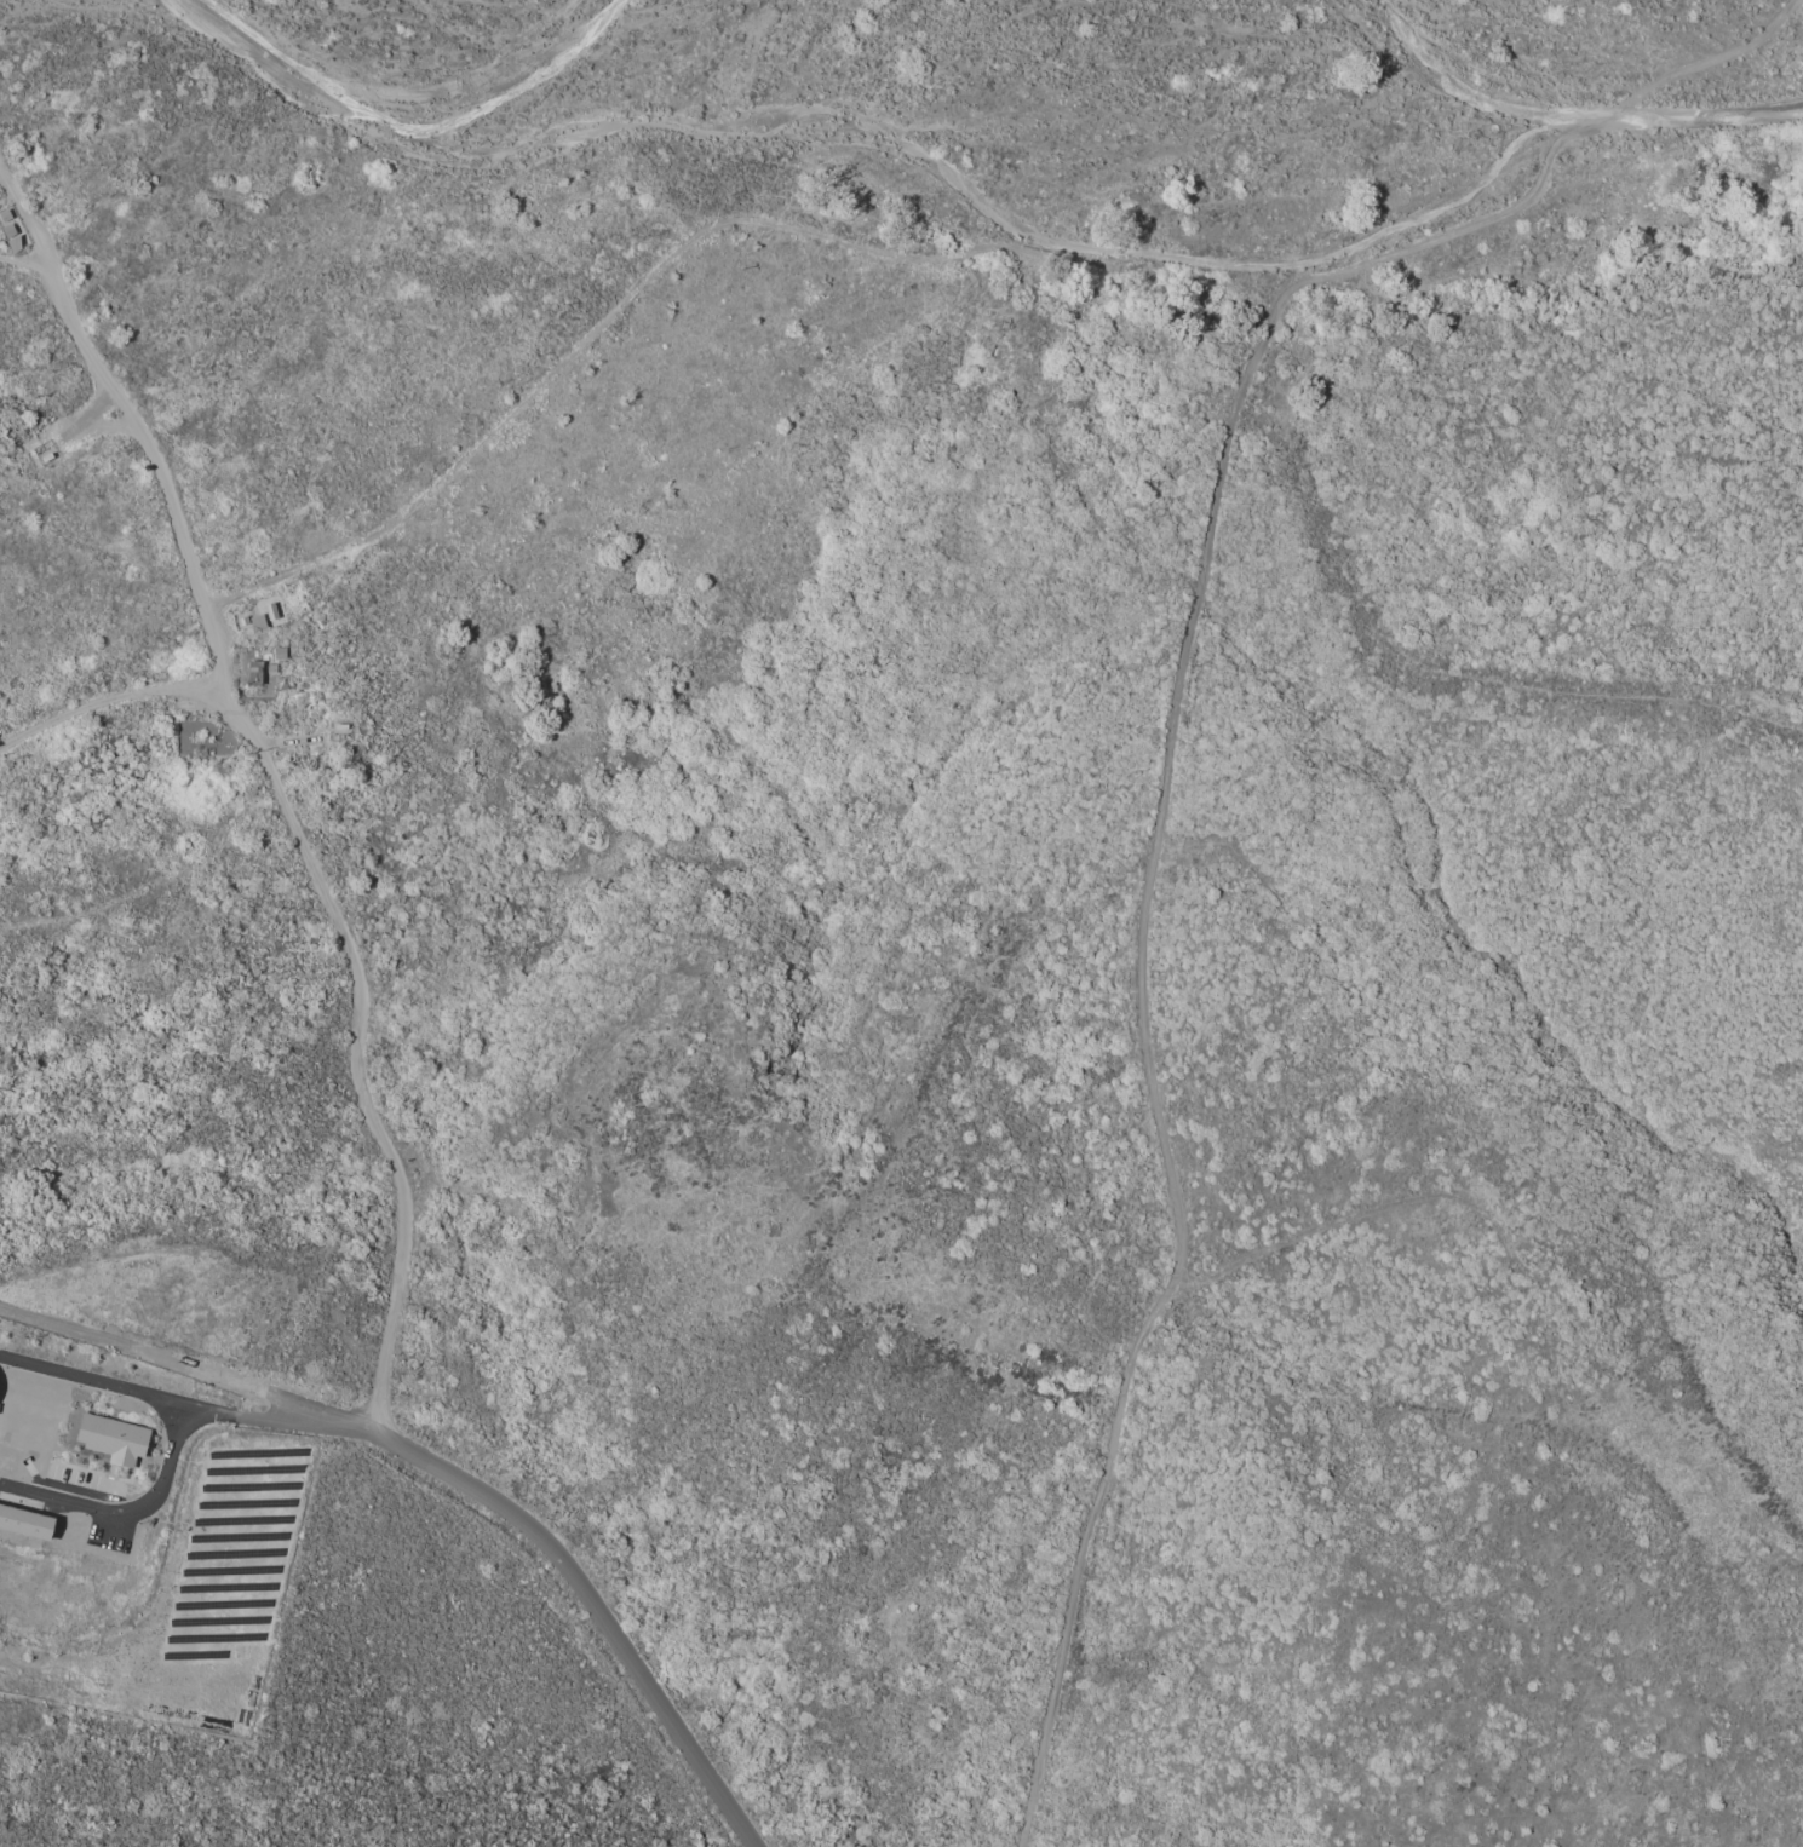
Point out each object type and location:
road: (401, 114)
road: (948, 255)
road: (22, 258)
road: (108, 697)
road: (155, 890)
road: (355, 1049)
road: (92, 1377)
road: (276, 1419)
building: (111, 1438)
road: (127, 1512)
building: (24, 1521)

